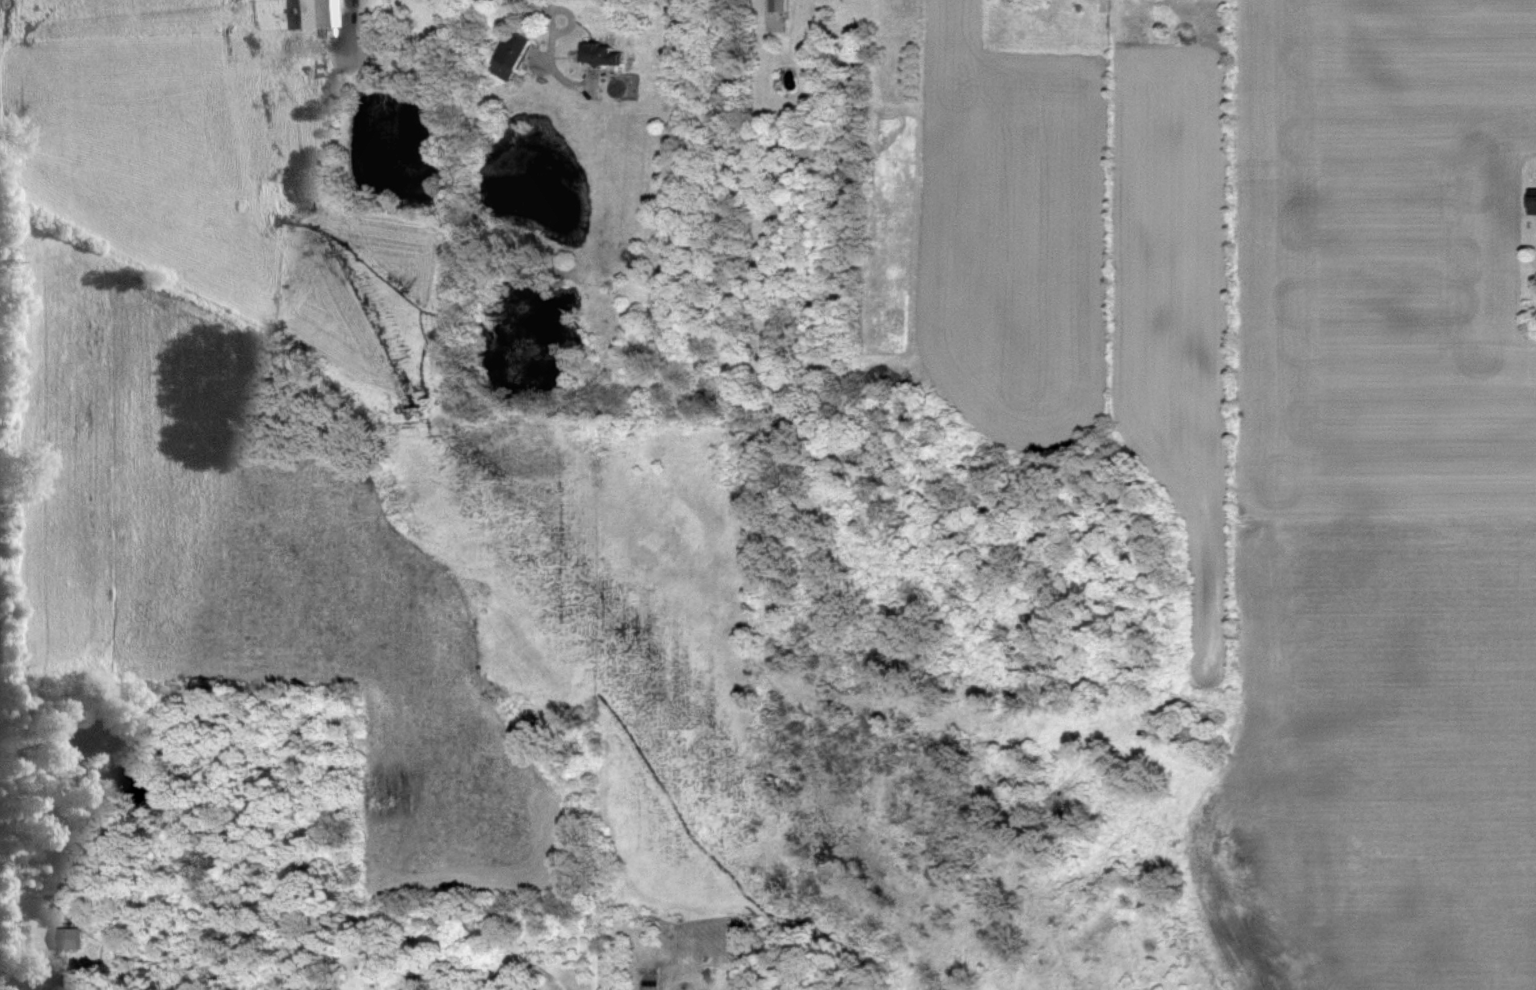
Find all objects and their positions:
road: (545, 1)
building: (778, 5)
building: (316, 13)
road: (351, 14)
road: (572, 17)
building: (368, 26)
building: (602, 52)
building: (511, 55)
road: (538, 55)
road: (549, 57)
road: (591, 83)
building: (1532, 201)
building: (447, 981)
building: (47, 982)
building: (536, 988)

